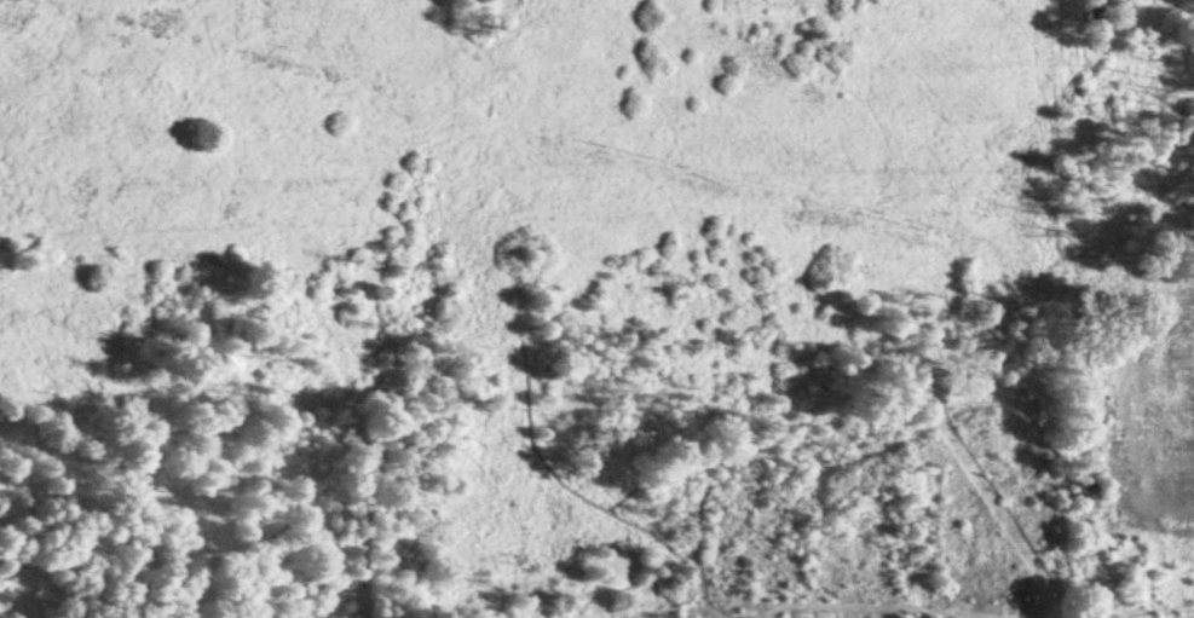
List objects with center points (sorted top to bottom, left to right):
building: (1086, 490)

